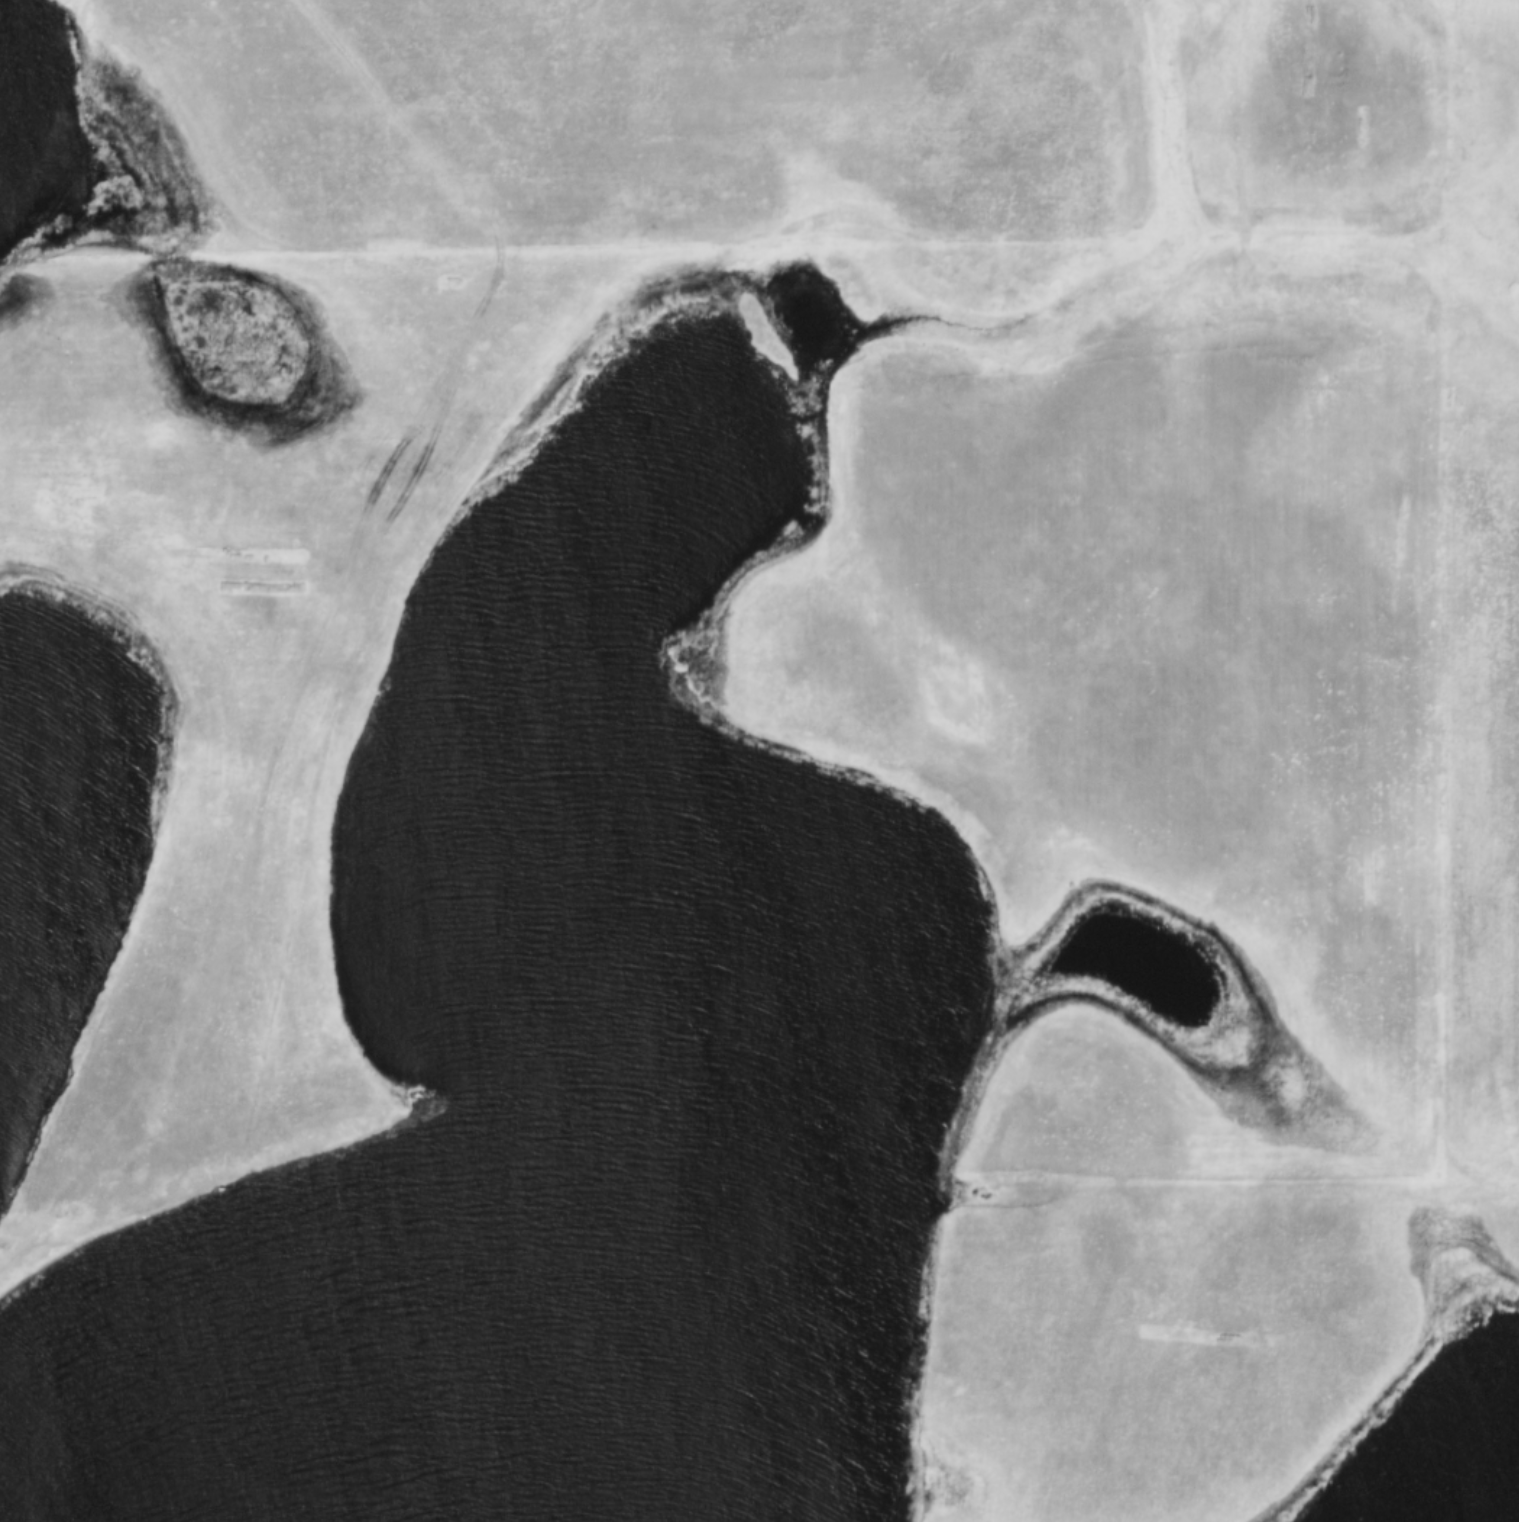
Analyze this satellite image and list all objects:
road: (1397, 1400)

